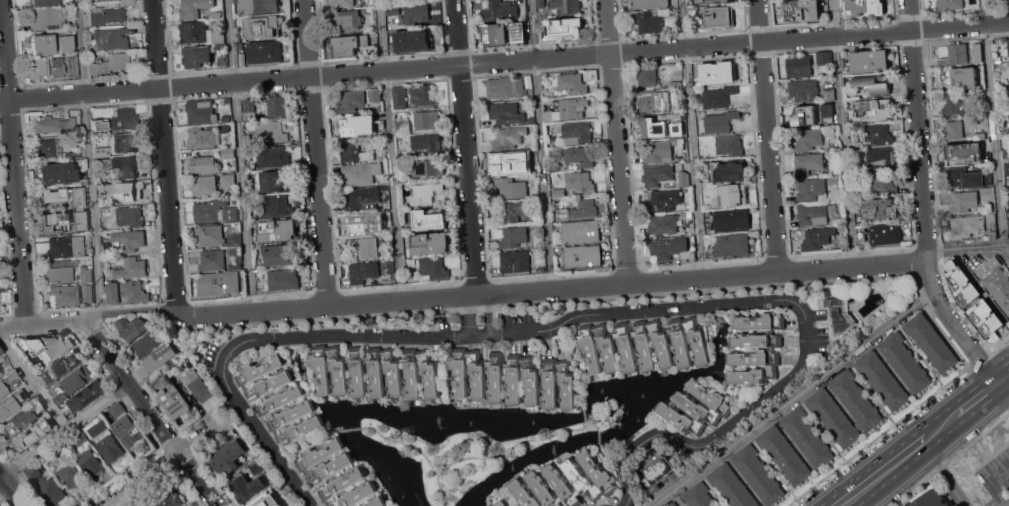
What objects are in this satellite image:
building: (710, 1)
building: (1006, 2)
building: (46, 3)
building: (341, 3)
building: (540, 3)
building: (649, 4)
building: (950, 4)
building: (257, 5)
building: (567, 6)
building: (864, 7)
building: (194, 8)
building: (393, 10)
building: (499, 10)
building: (673, 10)
building: (801, 10)
building: (105, 12)
building: (416, 13)
building: (215, 15)
building: (718, 17)
building: (47, 19)
building: (346, 19)
building: (649, 21)
building: (262, 26)
building: (567, 28)
building: (517, 31)
building: (544, 33)
building: (203, 34)
building: (496, 34)
building: (413, 39)
building: (111, 40)
building: (42, 43)
building: (65, 44)
building: (349, 45)
building: (1008, 47)
building: (264, 52)
building: (958, 52)
building: (197, 56)
building: (823, 57)
building: (998, 58)
building: (222, 59)
road: (504, 60)
building: (869, 61)
building: (111, 63)
building: (799, 66)
building: (38, 67)
building: (73, 67)
building: (57, 68)
building: (717, 72)
building: (648, 77)
building: (959, 78)
building: (572, 84)
building: (676, 84)
building: (872, 85)
building: (505, 87)
building: (999, 90)
building: (803, 91)
building: (829, 94)
building: (374, 95)
building: (424, 95)
building: (718, 97)
building: (399, 98)
building: (352, 100)
building: (226, 101)
building: (657, 101)
building: (250, 104)
building: (957, 104)
building: (278, 105)
building: (1002, 105)
building: (572, 108)
building: (875, 109)
building: (201, 112)
building: (827, 113)
building: (507, 114)
building: (549, 115)
building: (804, 116)
building: (226, 117)
building: (124, 118)
building: (427, 119)
building: (720, 122)
road: (992, 122)
building: (55, 124)
building: (100, 124)
building: (358, 126)
building: (403, 127)
building: (652, 127)
building: (223, 128)
building: (954, 130)
building: (272, 132)
road: (842, 133)
building: (575, 134)
building: (878, 134)
building: (979, 135)
road: (766, 136)
building: (853, 136)
building: (202, 137)
road: (693, 138)
building: (246, 139)
building: (508, 139)
building: (808, 140)
building: (126, 141)
road: (615, 141)
building: (427, 142)
road: (541, 144)
building: (729, 144)
building: (365, 145)
building: (50, 147)
road: (464, 147)
building: (664, 148)
road: (390, 149)
road: (315, 152)
building: (964, 152)
building: (75, 153)
building: (101, 153)
building: (358, 153)
building: (227, 154)
road: (239, 154)
road: (164, 155)
building: (273, 155)
road: (89, 156)
building: (579, 157)
building: (879, 159)
road: (12, 161)
building: (509, 164)
building: (808, 164)
building: (204, 165)
building: (988, 165)
building: (1005, 165)
building: (125, 167)
building: (429, 167)
building: (555, 167)
building: (728, 172)
building: (61, 173)
building: (361, 173)
building: (657, 175)
building: (684, 178)
building: (968, 178)
building: (404, 179)
building: (861, 179)
building: (228, 180)
building: (276, 182)
building: (883, 182)
building: (580, 183)
building: (203, 186)
building: (384, 188)
building: (511, 188)
building: (811, 189)
building: (128, 192)
building: (558, 192)
building: (425, 194)
building: (732, 195)
building: (54, 196)
building: (78, 197)
building: (362, 199)
building: (536, 199)
building: (664, 200)
road: (922, 200)
building: (105, 202)
building: (964, 202)
building: (383, 203)
building: (274, 206)
building: (879, 209)
building: (579, 210)
building: (514, 211)
building: (214, 212)
building: (685, 214)
building: (812, 214)
building: (130, 216)
building: (991, 216)
building: (731, 219)
building: (63, 221)
building: (428, 221)
building: (366, 223)
building: (664, 223)
building: (1008, 225)
building: (966, 226)
building: (538, 227)
building: (278, 230)
building: (708, 230)
building: (578, 232)
building: (993, 233)
building: (886, 234)
building: (210, 235)
building: (861, 235)
building: (513, 237)
building: (708, 237)
building: (818, 238)
building: (234, 239)
building: (130, 240)
building: (430, 244)
building: (731, 245)
building: (66, 246)
building: (365, 246)
road: (966, 247)
building: (664, 248)
building: (230, 251)
building: (277, 254)
building: (582, 257)
building: (212, 261)
building: (1008, 261)
building: (515, 262)
building: (236, 263)
building: (390, 266)
building: (433, 268)
building: (132, 269)
building: (540, 269)
building: (60, 271)
building: (362, 272)
building: (86, 273)
building: (283, 279)
building: (996, 280)
road: (627, 282)
building: (219, 284)
building: (127, 292)
building: (88, 293)
building: (65, 295)
building: (980, 302)
road: (251, 309)
road: (138, 310)
road: (490, 314)
road: (583, 314)
building: (840, 314)
road: (467, 315)
road: (92, 316)
road: (42, 322)
building: (132, 327)
road: (944, 333)
road: (1000, 341)
building: (930, 342)
building: (147, 344)
building: (643, 344)
building: (49, 345)
building: (755, 349)
building: (1, 351)
building: (161, 356)
road: (980, 357)
building: (4, 360)
road: (577, 361)
building: (904, 361)
building: (69, 362)
building: (175, 365)
building: (164, 371)
building: (373, 371)
building: (12, 374)
road: (1003, 375)
building: (513, 377)
building: (46, 378)
building: (78, 379)
building: (882, 379)
road: (32, 382)
building: (198, 385)
building: (3, 389)
building: (57, 394)
building: (86, 395)
building: (172, 396)
road: (976, 397)
road: (793, 398)
building: (279, 399)
building: (856, 399)
building: (12, 404)
building: (118, 408)
building: (696, 408)
road: (148, 413)
road: (583, 413)
building: (604, 416)
building: (833, 416)
building: (20, 421)
road: (595, 423)
road: (584, 425)
road: (942, 425)
road: (347, 428)
road: (63, 429)
building: (129, 432)
building: (32, 435)
building: (807, 436)
road: (877, 436)
road: (597, 437)
building: (80, 438)
building: (104, 439)
road: (403, 442)
road: (305, 446)
park: (471, 450)
building: (61, 451)
road: (501, 452)
building: (784, 454)
road: (610, 455)
building: (228, 458)
road: (949, 458)
building: (90, 461)
road: (161, 464)
building: (257, 465)
road: (884, 470)
building: (320, 471)
building: (658, 471)
building: (33, 472)
building: (758, 474)
road: (942, 474)
building: (70, 475)
parking lot: (994, 476)
building: (566, 483)
road: (995, 483)
building: (731, 486)
building: (248, 488)
building: (655, 488)
road: (11, 489)
building: (51, 489)
building: (699, 496)
building: (169, 499)
building: (931, 499)
building: (265, 500)
road: (121, 501)
building: (285, 503)
building: (501, 503)
building: (673, 504)
building: (905, 505)

